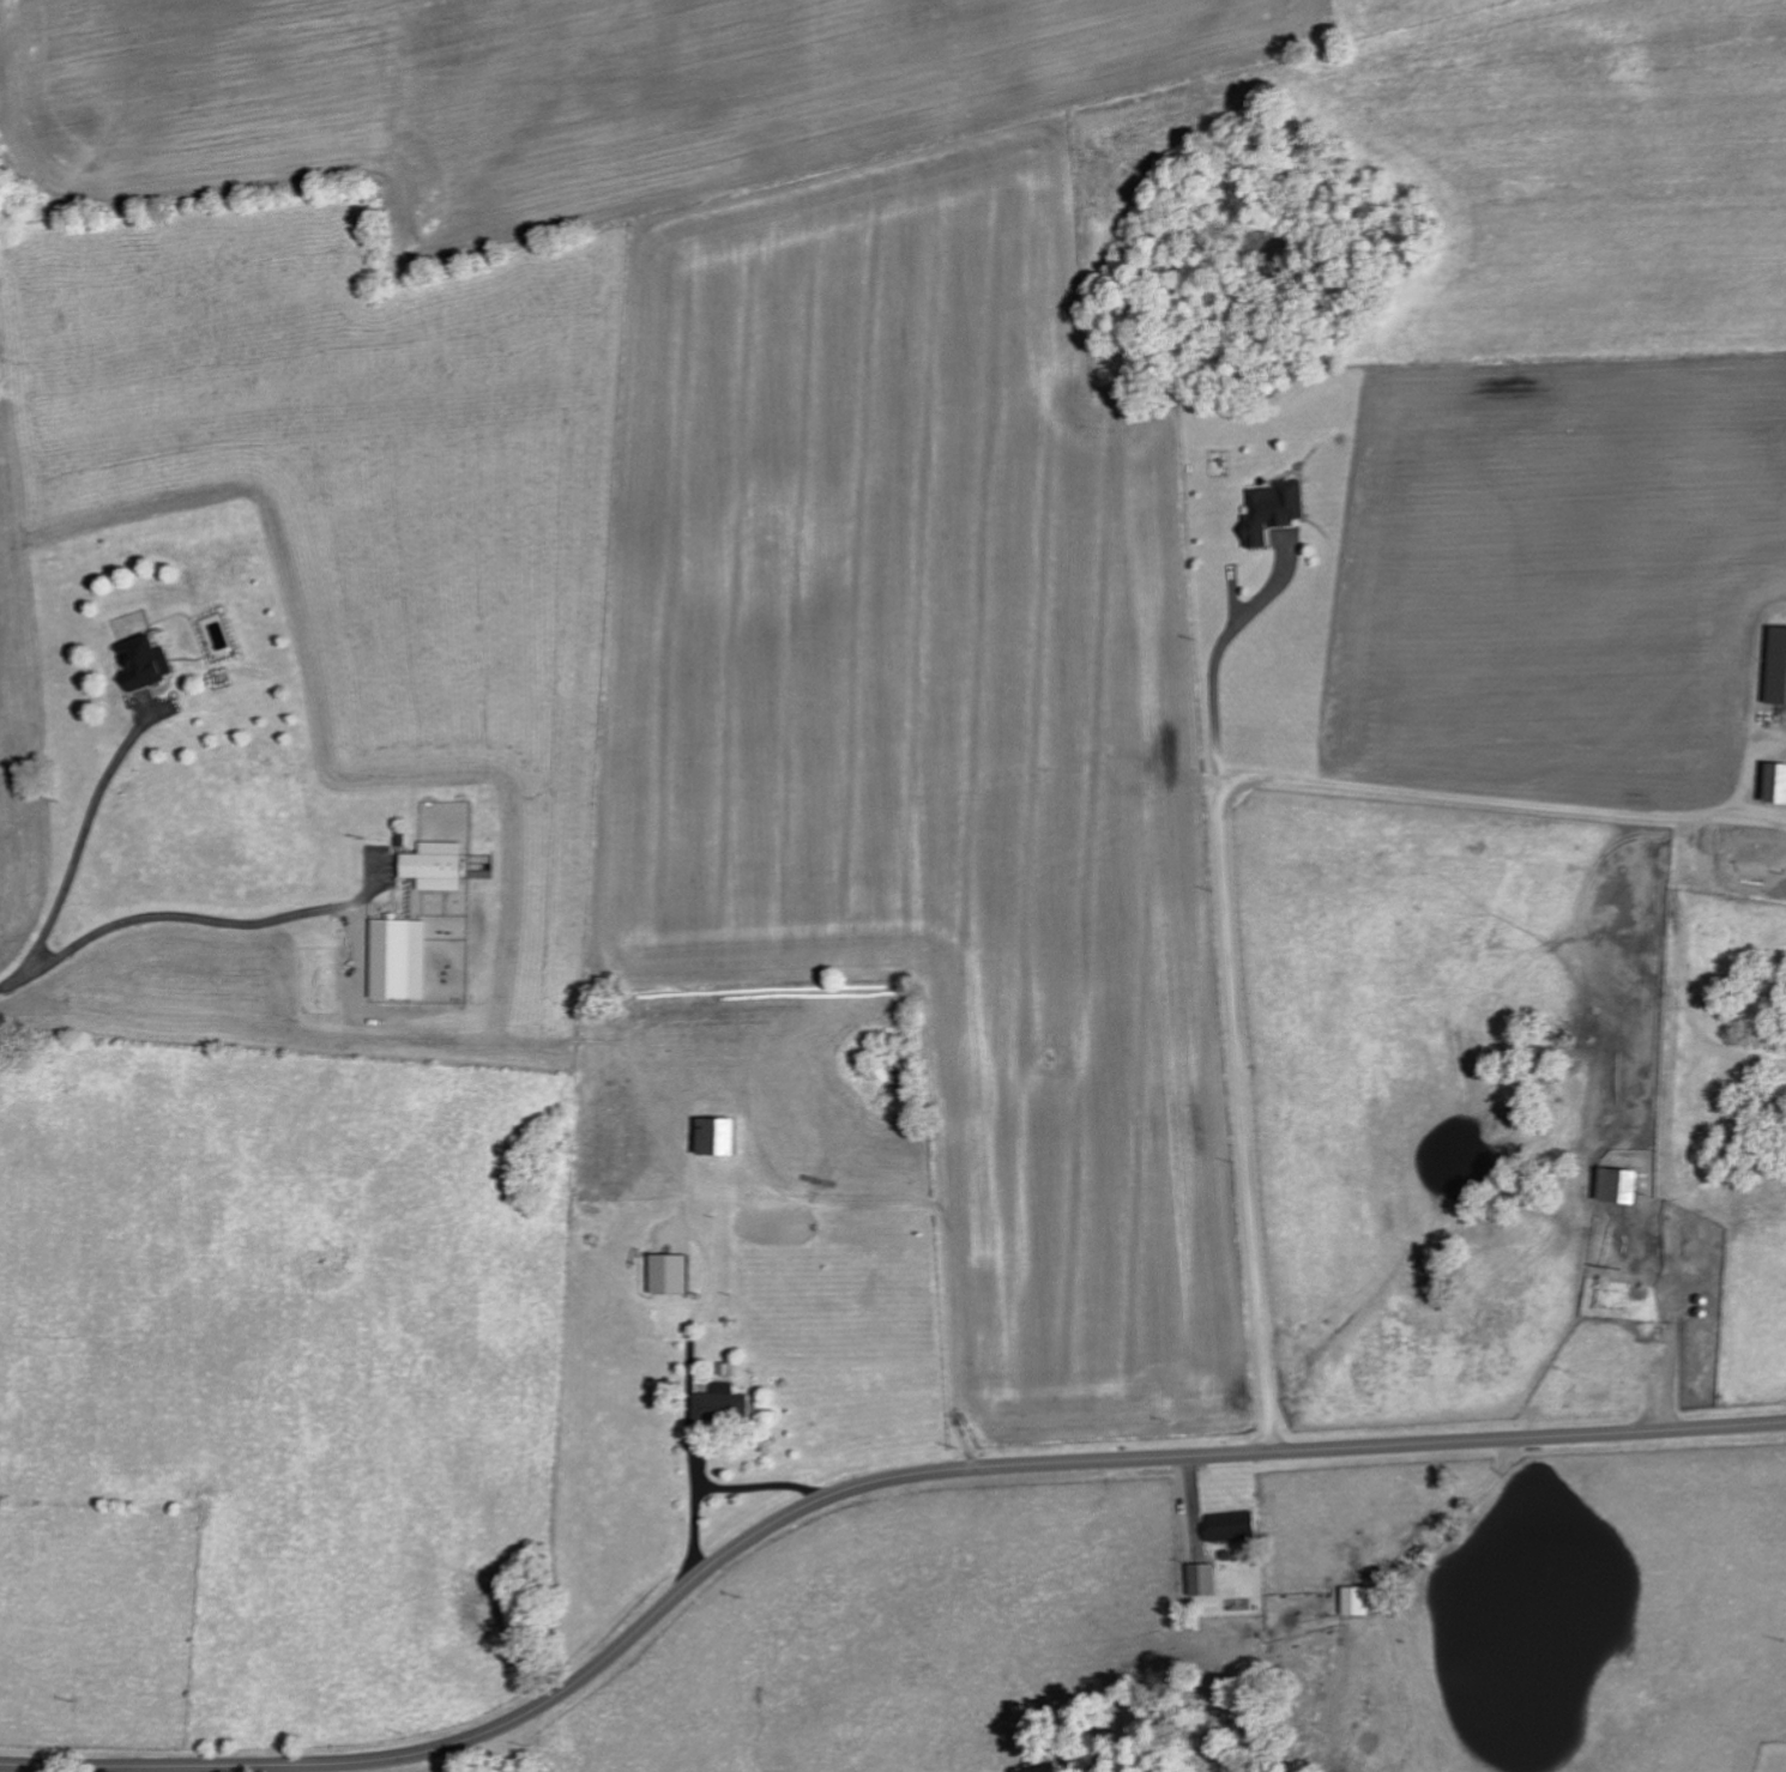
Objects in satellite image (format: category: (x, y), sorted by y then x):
road: (1215, 654)
building: (144, 663)
building: (1775, 667)
building: (1774, 784)
road: (1217, 836)
road: (79, 855)
building: (433, 866)
road: (179, 917)
building: (397, 960)
building: (712, 1137)
building: (1616, 1186)
road: (947, 1226)
building: (666, 1275)
road: (689, 1336)
building: (718, 1405)
road: (723, 1487)
road: (856, 1493)
building: (1229, 1526)
building: (1200, 1580)
building: (1353, 1601)
road: (44, 1766)

